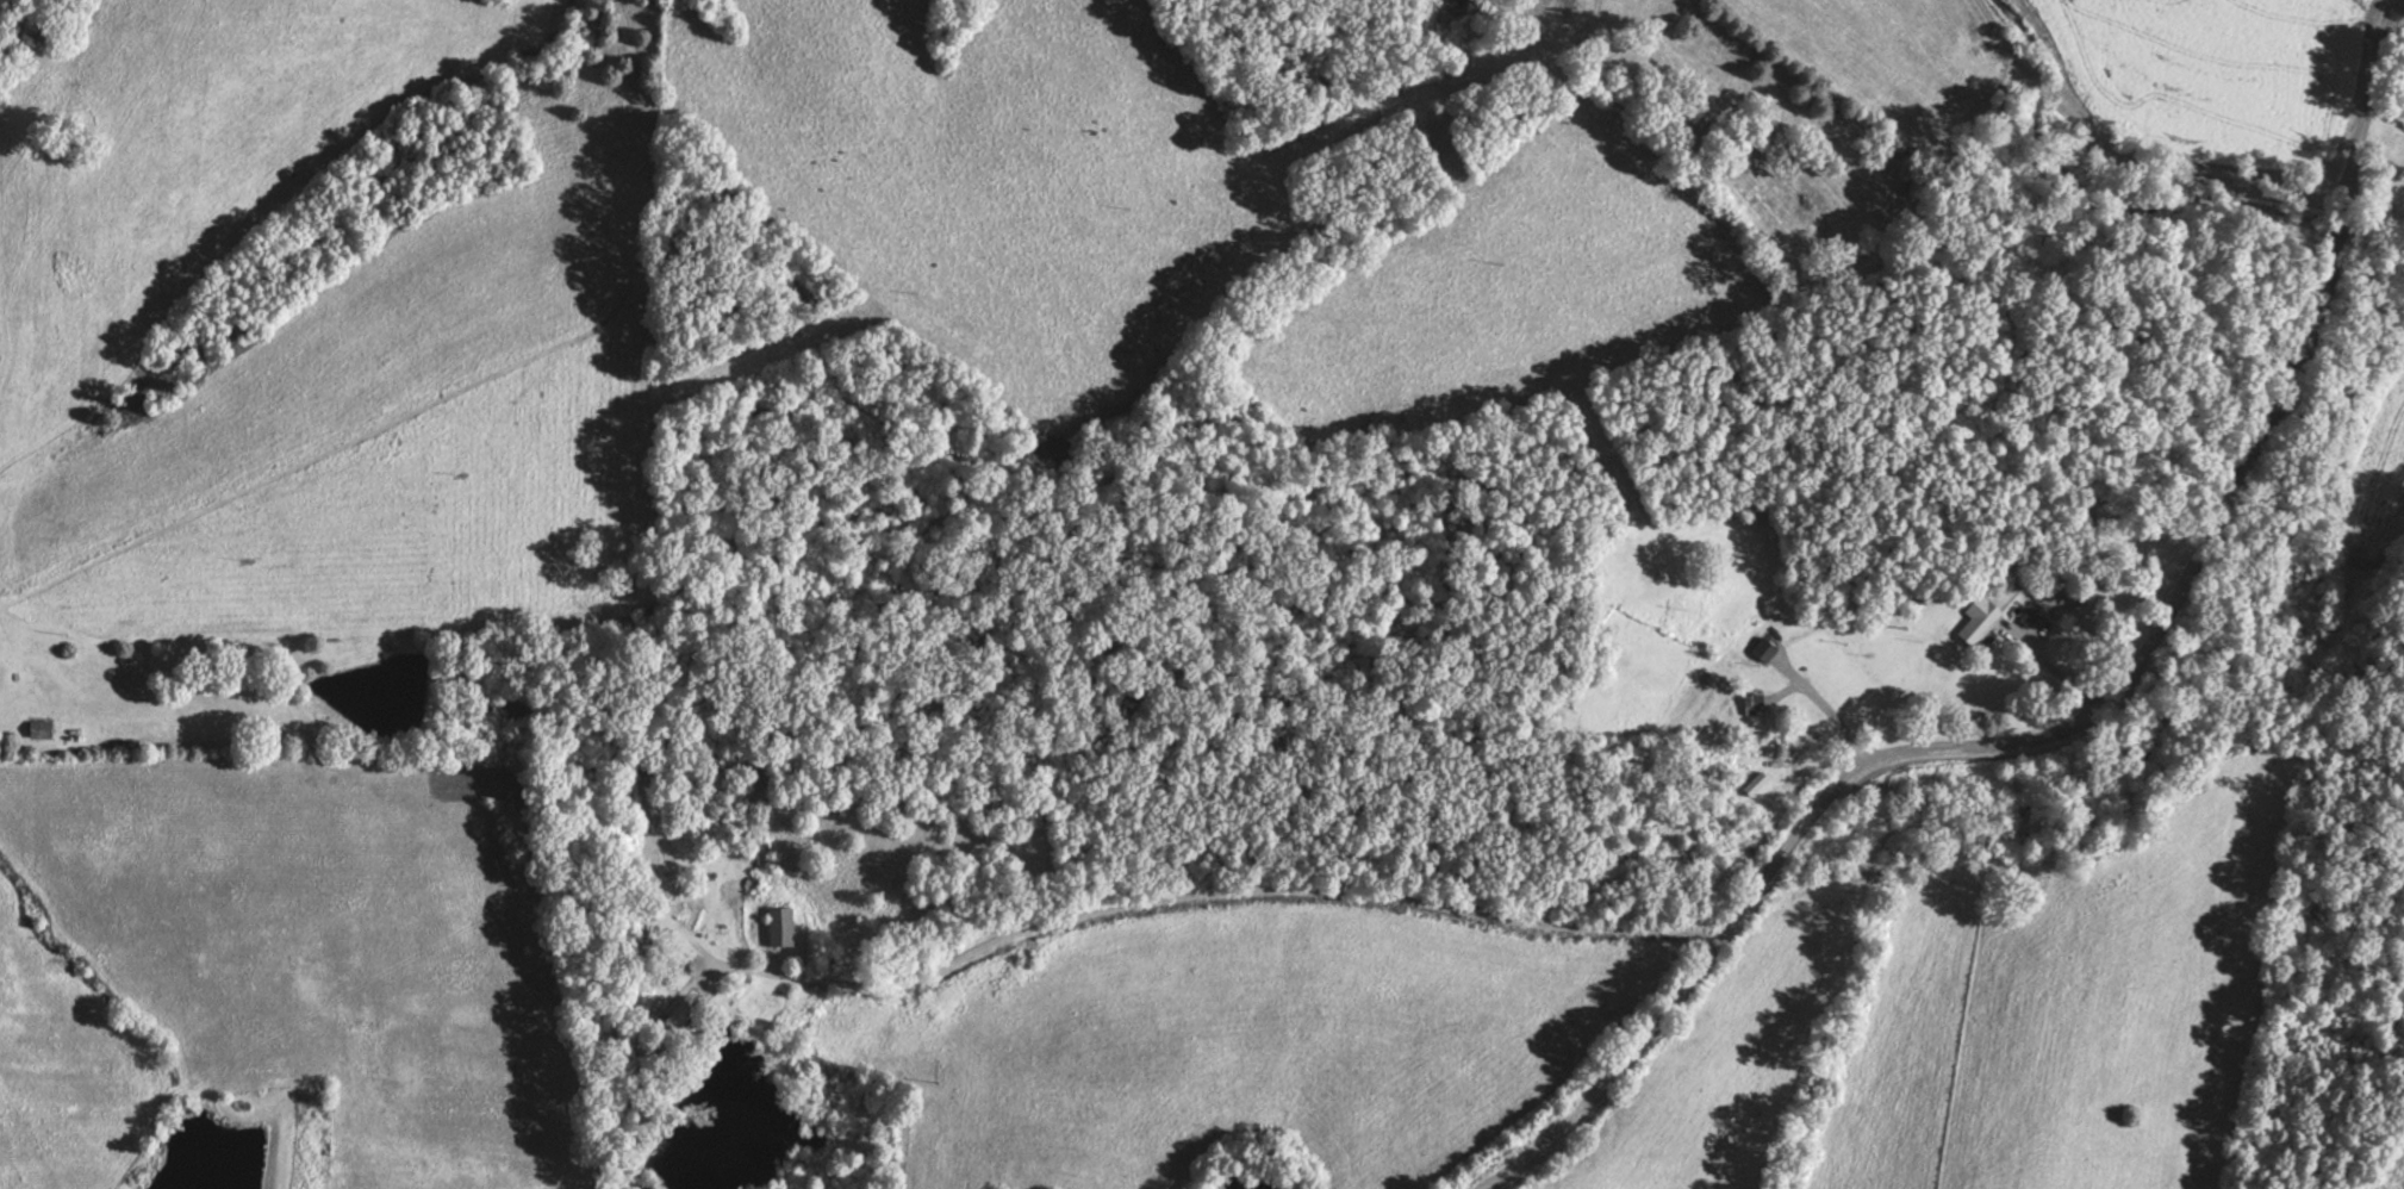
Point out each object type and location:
road: (2091, 144)
road: (2273, 343)
road: (1862, 401)
building: (1980, 620)
building: (1762, 646)
building: (42, 729)
road: (1771, 870)
building: (671, 872)
road: (1195, 902)
building: (783, 926)
building: (940, 1021)

